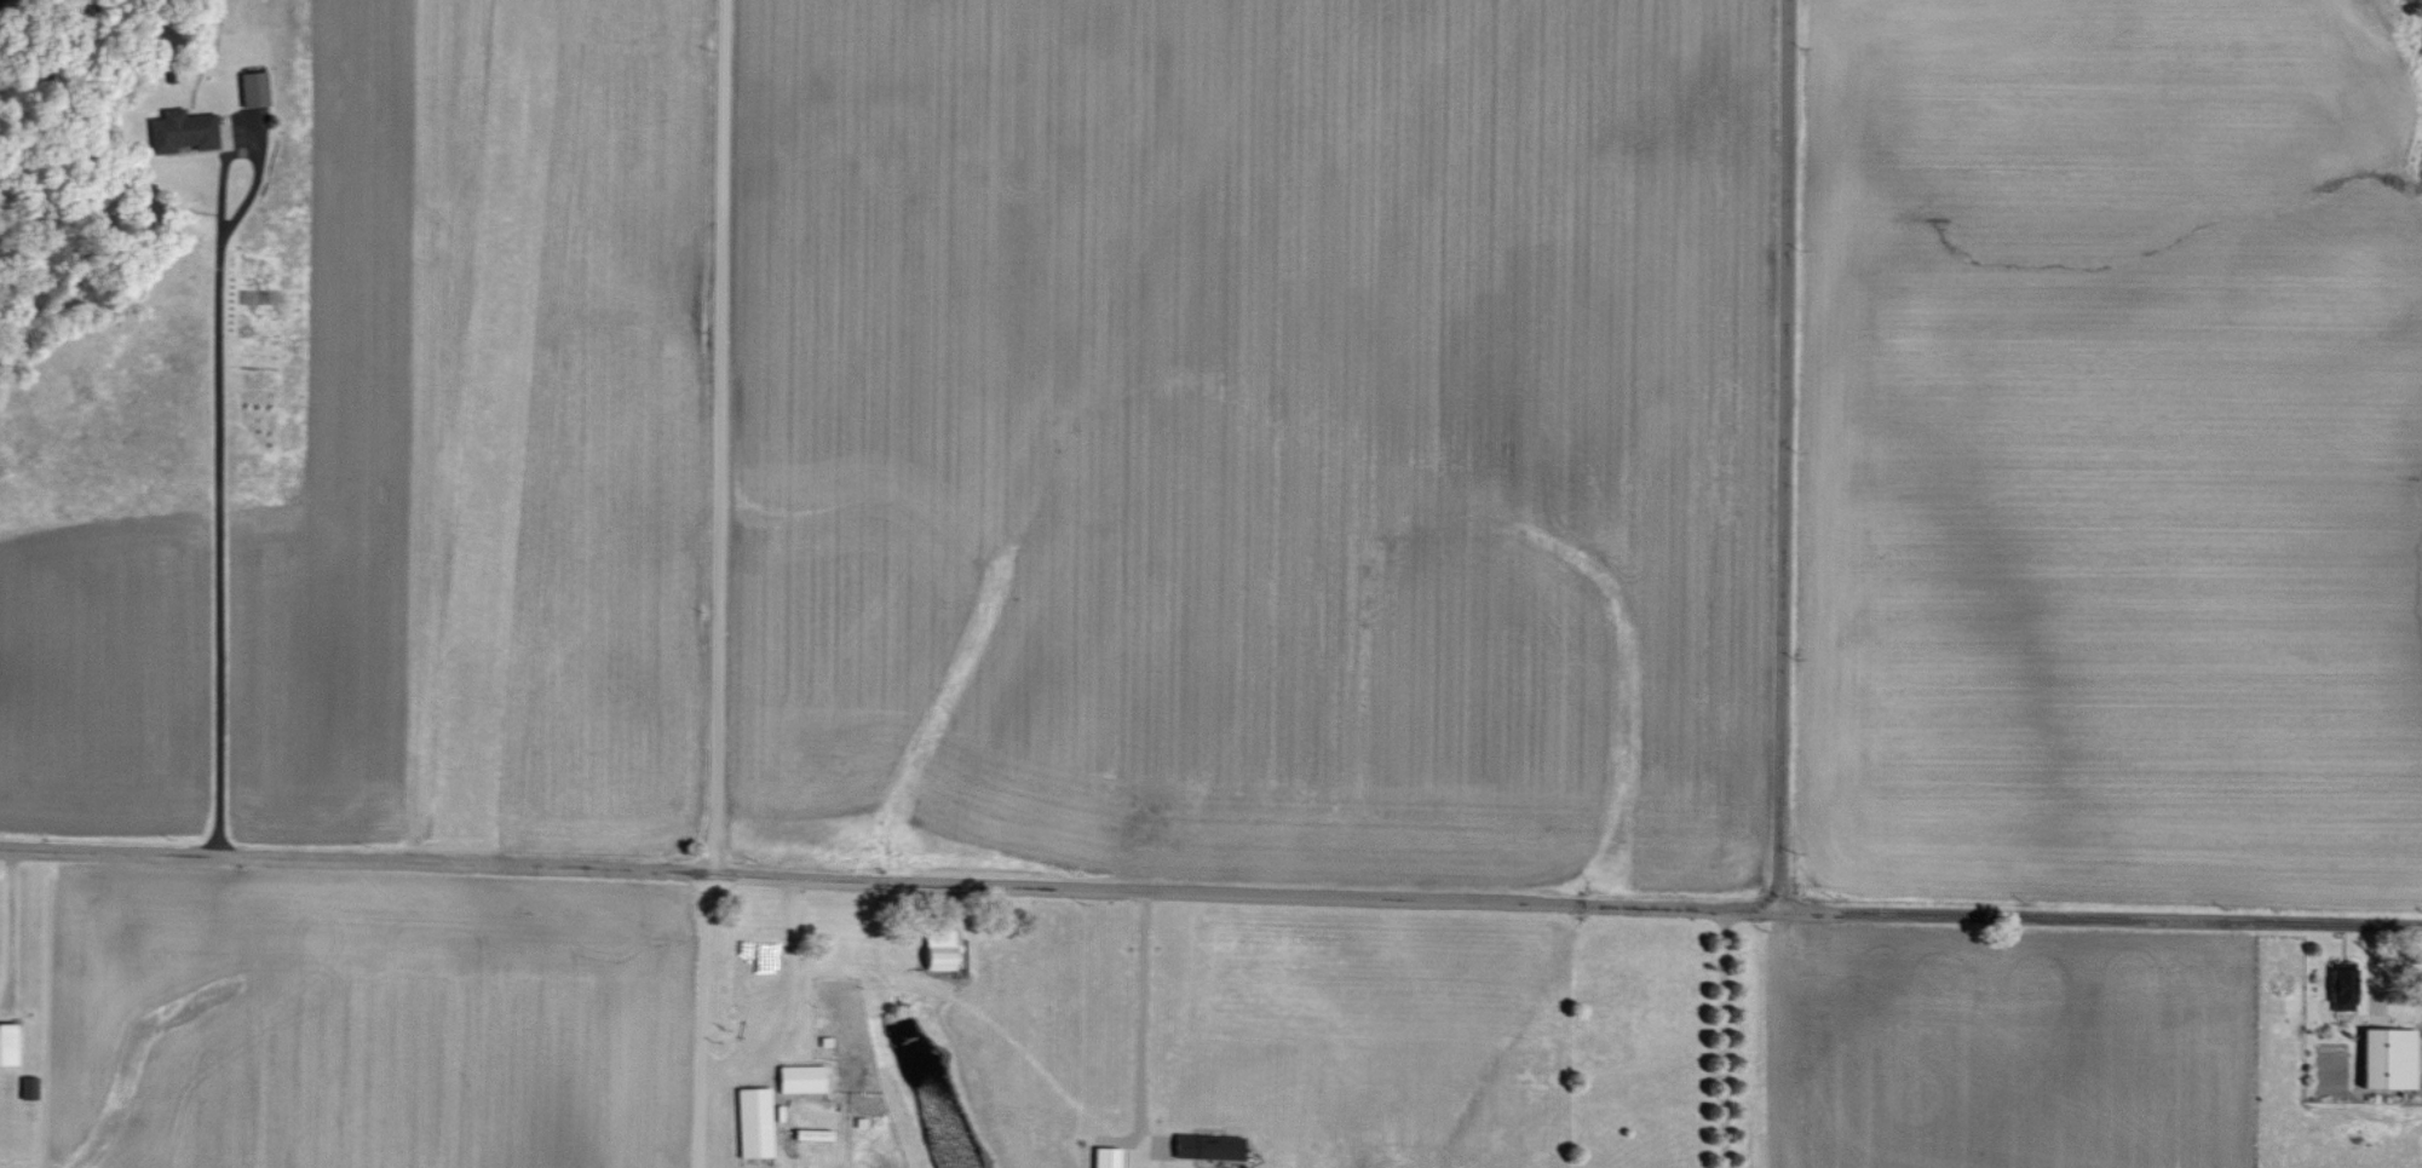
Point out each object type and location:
building: (248, 88)
building: (176, 131)
airport runway: (493, 416)
road: (709, 432)
road: (1782, 455)
road: (218, 517)
road: (888, 871)
road: (2100, 919)
building: (933, 950)
building: (2337, 986)
road: (1140, 1006)
road: (1722, 1038)
building: (10, 1042)
building: (2381, 1059)
road: (731, 1070)
building: (796, 1078)
building: (749, 1123)
building: (1202, 1147)

